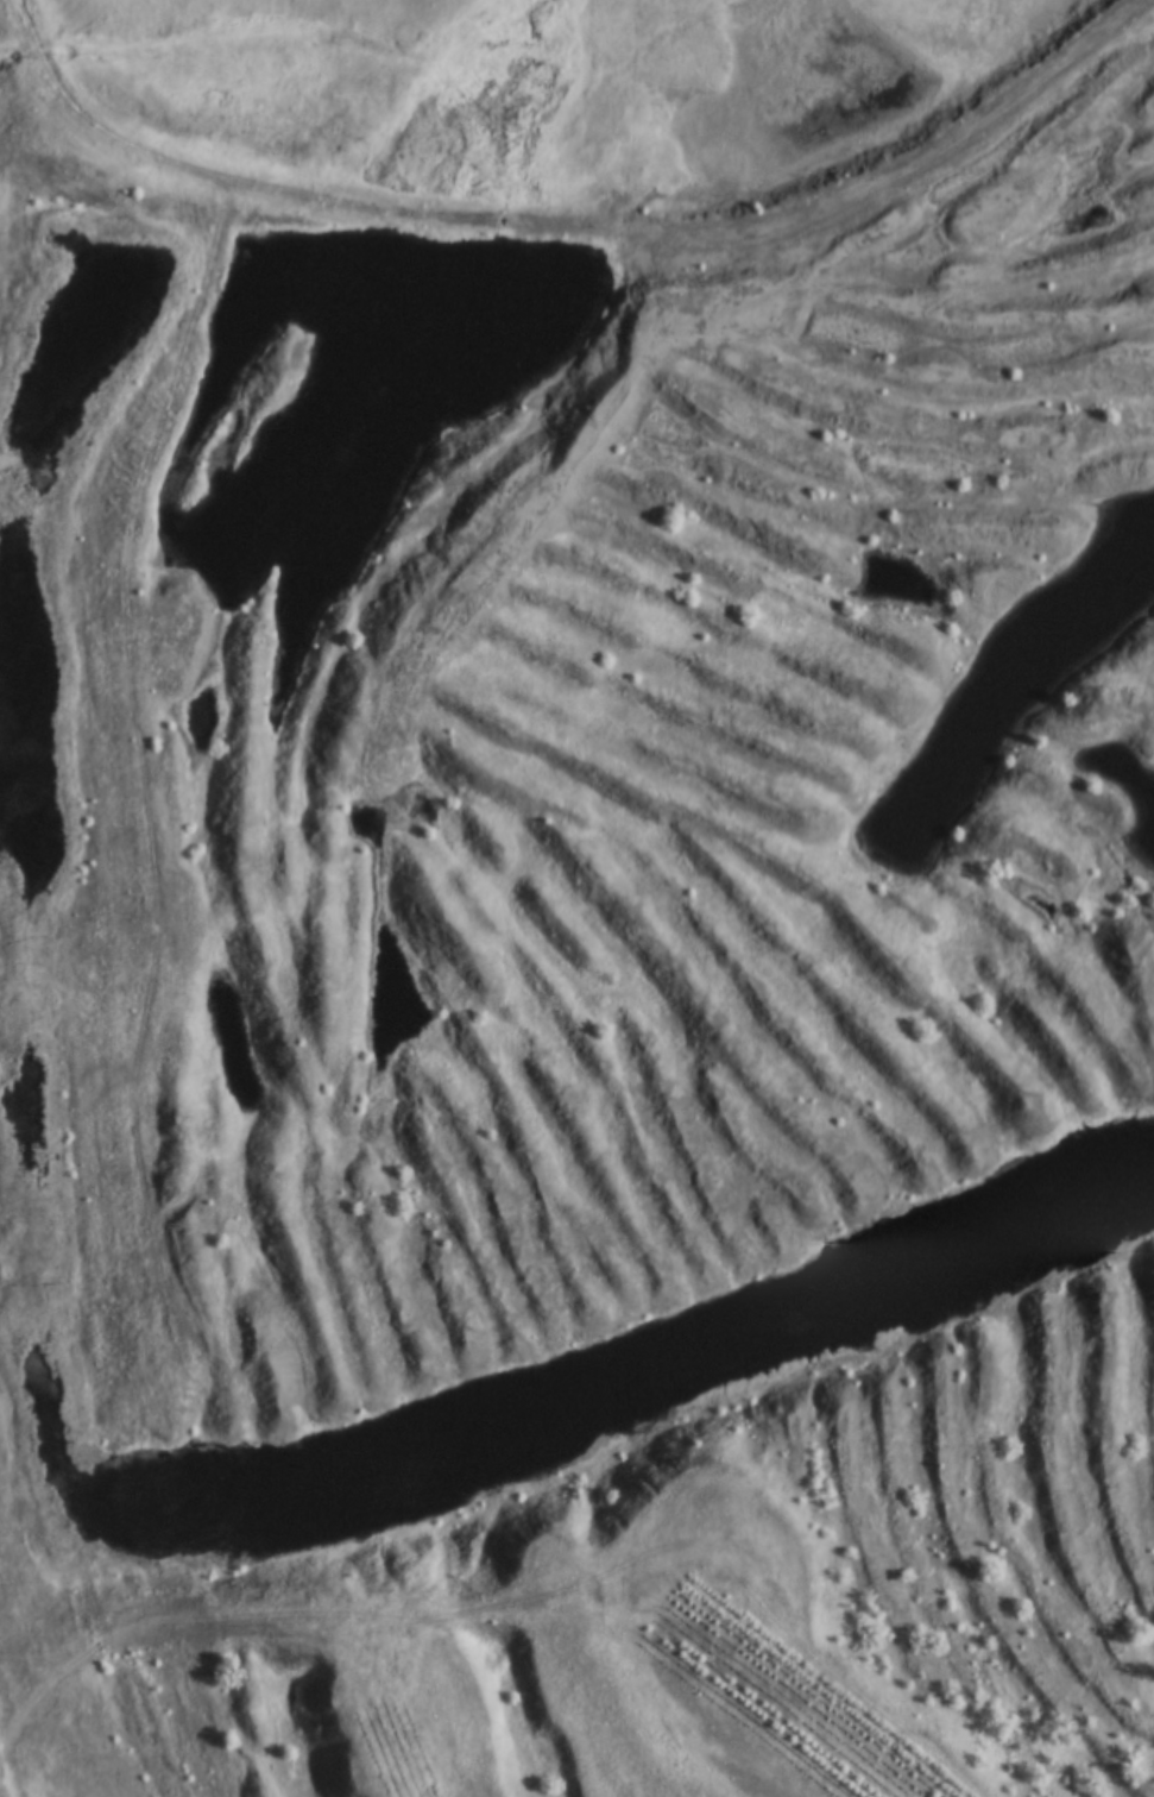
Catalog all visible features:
road: (27, 113)
road: (566, 221)
quarry: (580, 963)
road: (7, 1760)

